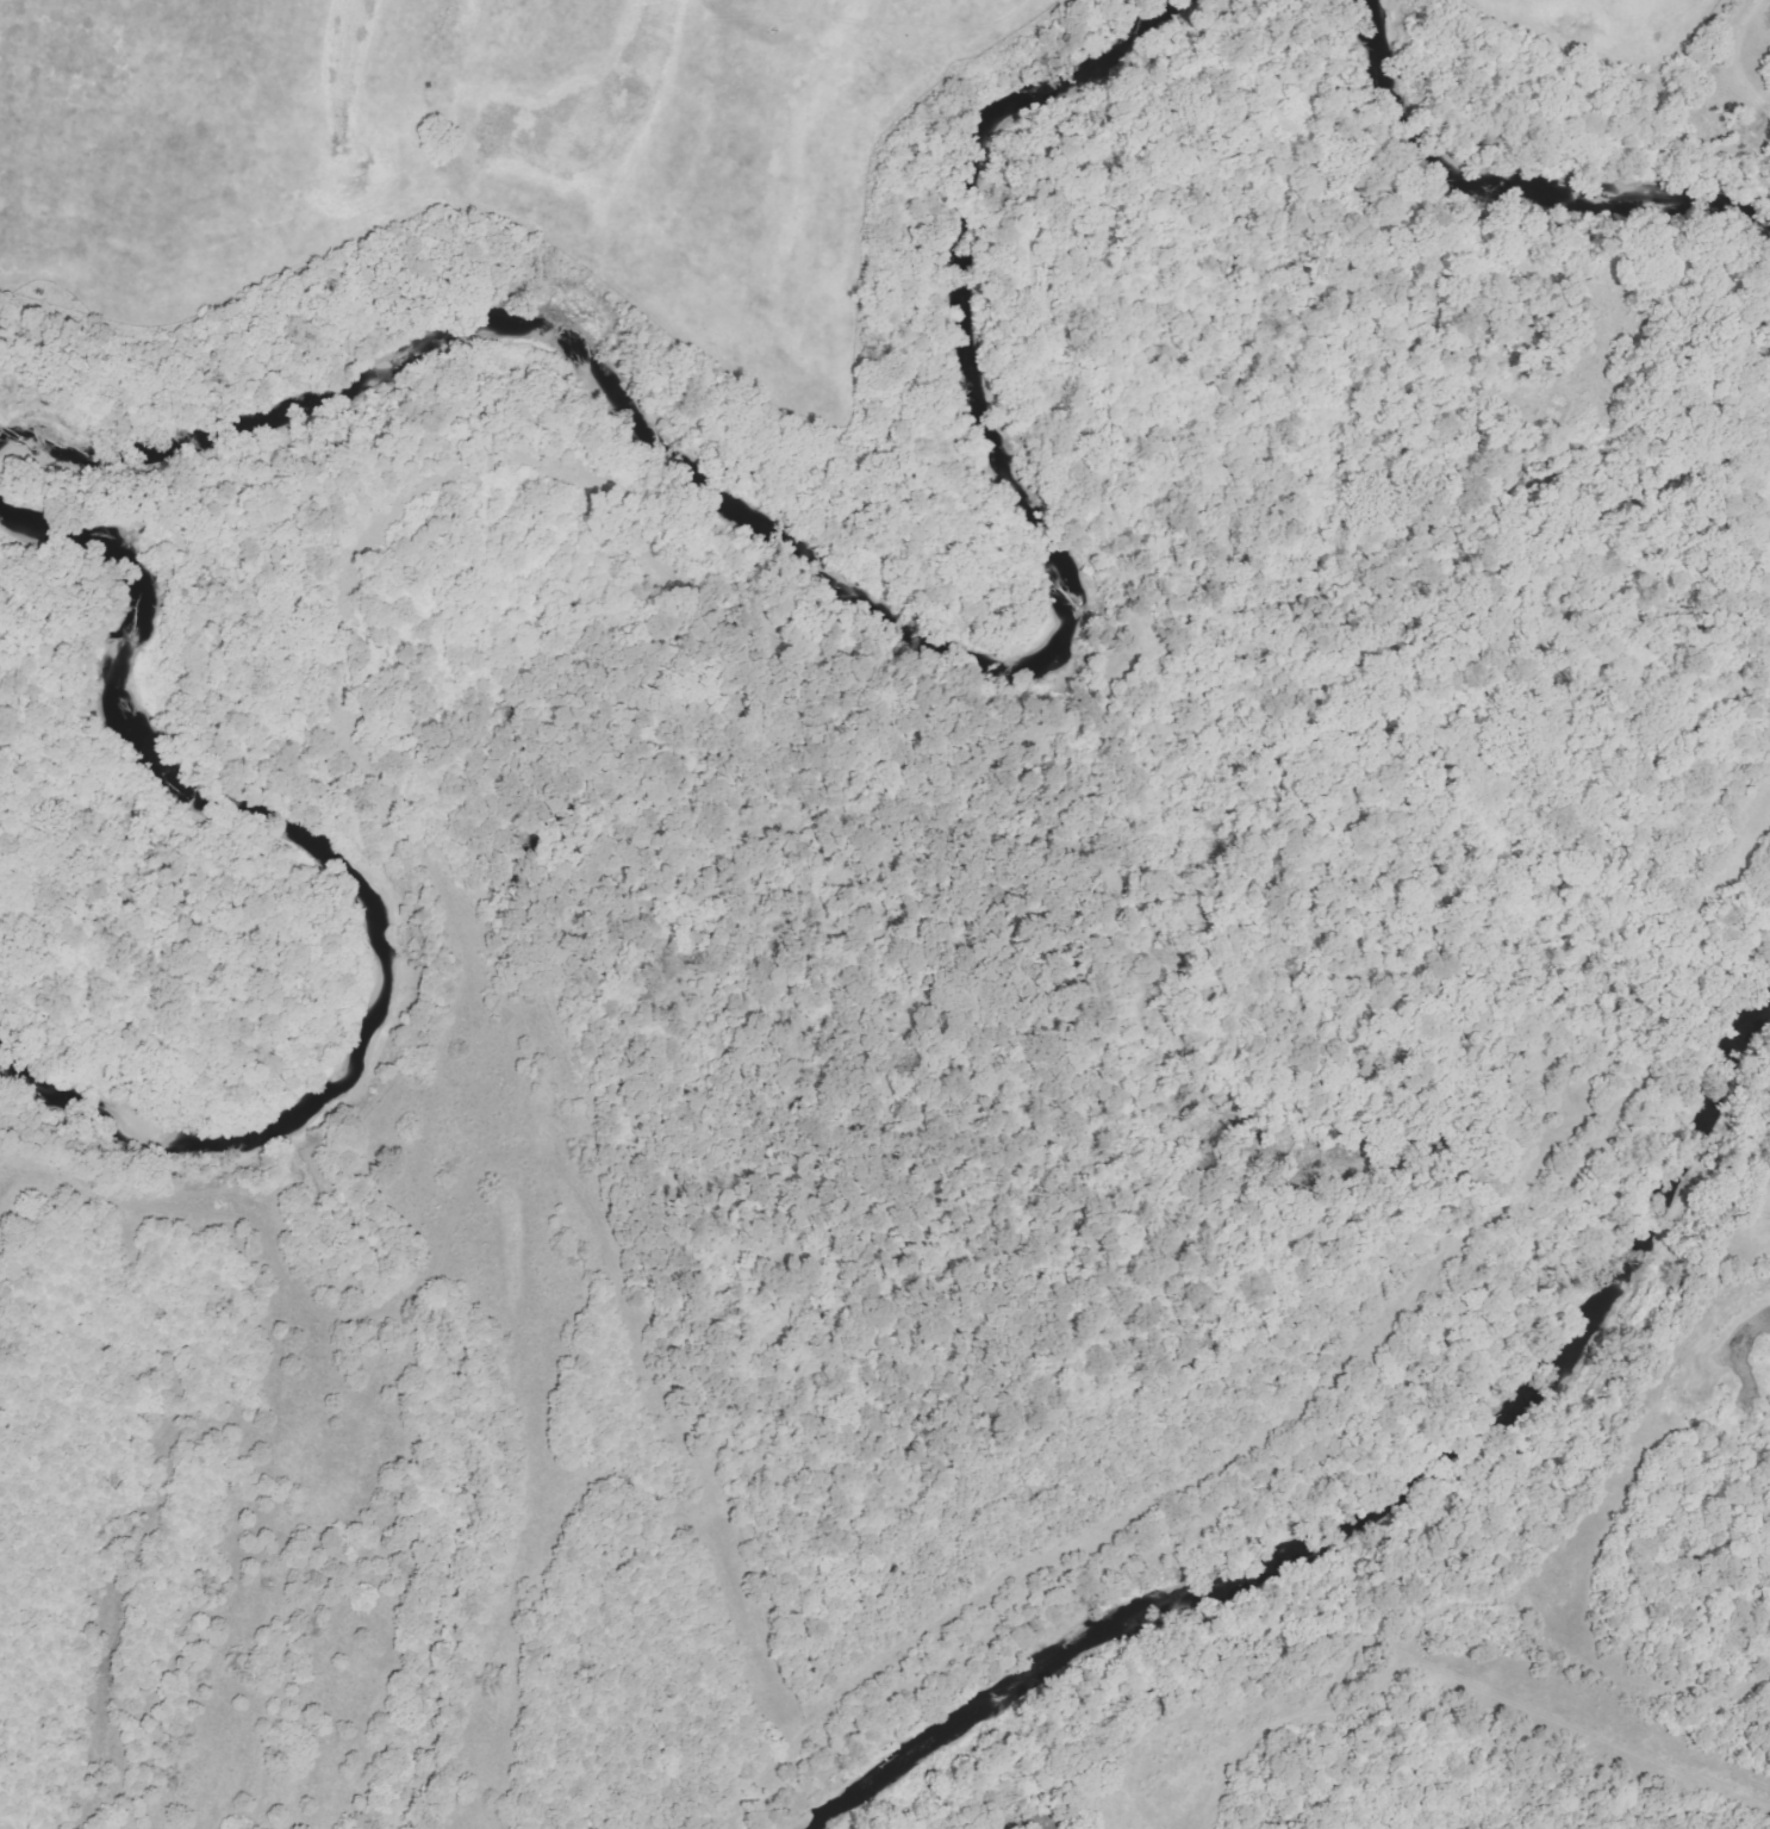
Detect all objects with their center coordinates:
river: (1512, 178)
river: (353, 379)

